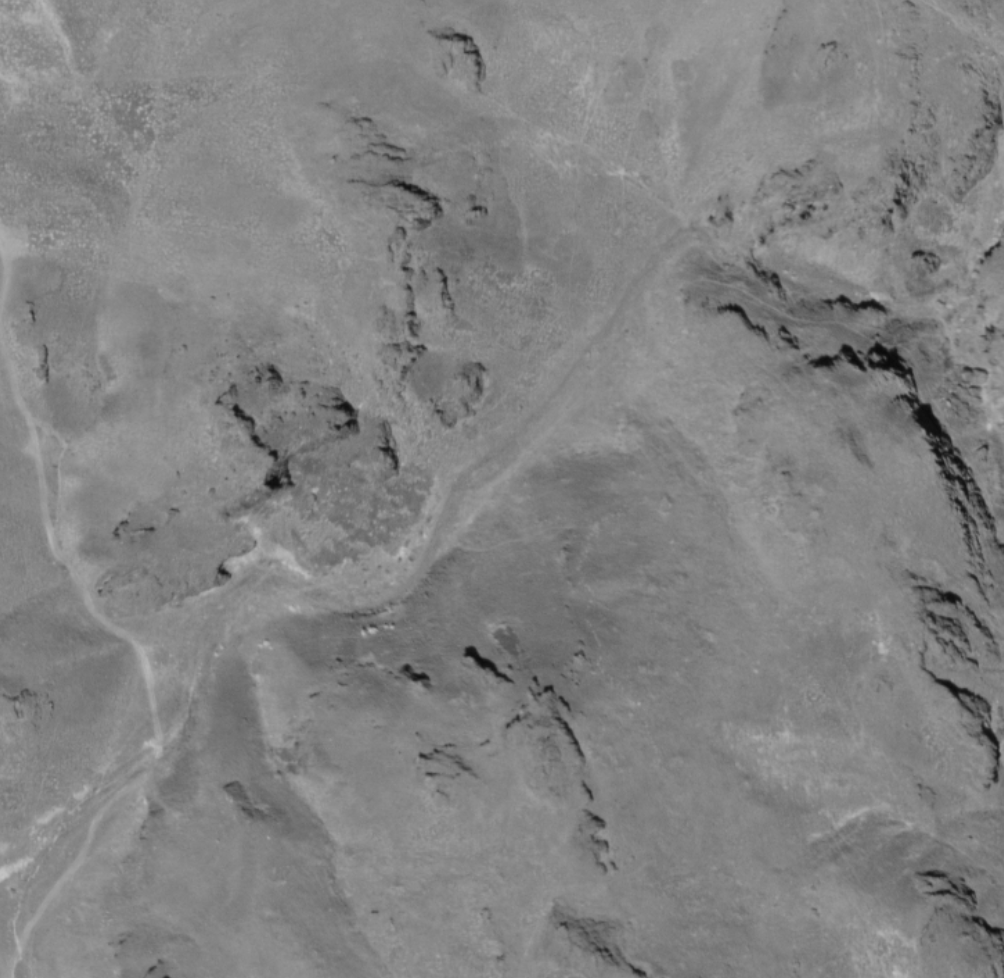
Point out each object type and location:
road: (5, 271)
road: (142, 661)

